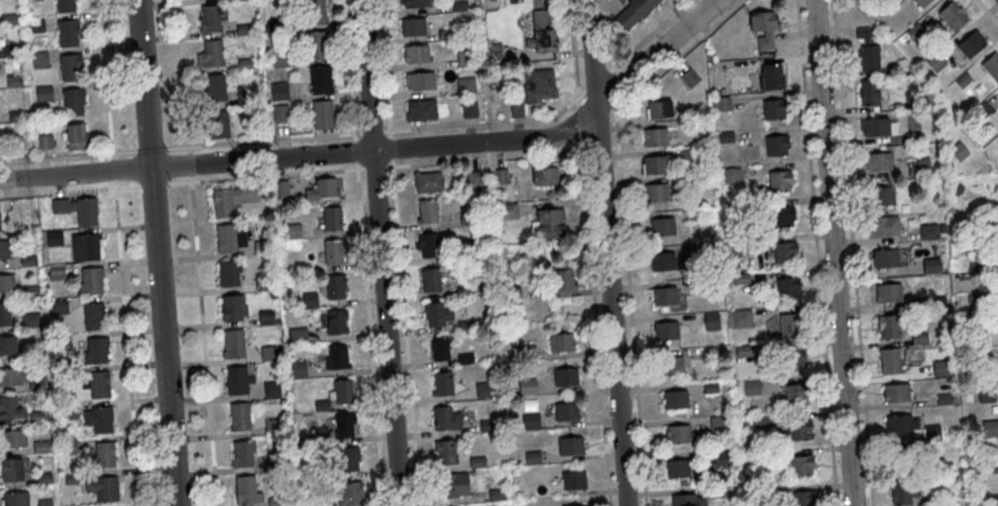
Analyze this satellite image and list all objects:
building: (240, 0)
building: (33, 1)
building: (922, 3)
building: (414, 4)
building: (891, 6)
building: (64, 7)
building: (459, 8)
road: (987, 11)
building: (314, 13)
building: (635, 13)
building: (953, 19)
building: (8, 21)
building: (209, 21)
building: (36, 27)
building: (275, 28)
building: (412, 29)
building: (763, 30)
building: (243, 31)
road: (609, 33)
building: (67, 34)
road: (648, 34)
building: (541, 35)
building: (916, 35)
building: (446, 36)
building: (316, 47)
building: (971, 47)
road: (574, 50)
building: (9, 52)
building: (493, 54)
building: (867, 54)
road: (679, 55)
building: (210, 56)
building: (416, 56)
building: (278, 61)
building: (465, 61)
building: (39, 62)
road: (348, 65)
building: (935, 65)
building: (245, 66)
road: (385, 68)
building: (70, 69)
building: (991, 69)
road: (182, 76)
road: (106, 78)
road: (597, 79)
building: (689, 80)
building: (771, 80)
building: (320, 82)
building: (13, 83)
building: (420, 83)
building: (962, 83)
building: (538, 87)
road: (612, 87)
building: (466, 88)
building: (214, 90)
building: (279, 93)
building: (43, 95)
building: (868, 95)
building: (247, 100)
building: (73, 104)
building: (919, 104)
building: (516, 107)
building: (723, 107)
building: (421, 112)
building: (469, 112)
building: (659, 112)
building: (773, 112)
building: (983, 112)
building: (281, 115)
building: (323, 117)
building: (15, 118)
road: (580, 119)
road: (487, 121)
building: (216, 126)
building: (696, 127)
road: (371, 129)
building: (254, 130)
building: (877, 130)
road: (354, 135)
road: (261, 138)
building: (726, 139)
building: (912, 139)
building: (75, 140)
building: (654, 140)
building: (45, 144)
road: (383, 146)
building: (17, 147)
road: (391, 147)
road: (149, 148)
building: (776, 148)
road: (356, 149)
road: (67, 154)
building: (689, 156)
road: (484, 158)
road: (189, 162)
building: (921, 164)
road: (374, 165)
building: (878, 165)
building: (655, 167)
road: (113, 168)
road: (265, 174)
building: (731, 177)
building: (501, 179)
building: (545, 179)
building: (474, 182)
road: (153, 183)
building: (427, 184)
building: (779, 184)
building: (690, 185)
road: (69, 189)
building: (282, 190)
building: (322, 191)
building: (956, 191)
building: (656, 195)
building: (880, 200)
building: (233, 201)
building: (77, 212)
building: (732, 212)
building: (427, 213)
building: (508, 213)
building: (692, 217)
building: (782, 219)
building: (468, 220)
building: (332, 221)
building: (550, 227)
building: (662, 229)
building: (883, 229)
building: (293, 233)
building: (929, 234)
building: (230, 240)
building: (53, 241)
building: (427, 247)
building: (85, 249)
building: (736, 249)
building: (262, 250)
building: (4, 252)
road: (159, 252)
road: (379, 252)
road: (606, 252)
building: (693, 253)
road: (816, 253)
road: (833, 253)
road: (852, 253)
building: (333, 254)
building: (784, 255)
building: (886, 261)
building: (27, 263)
building: (662, 264)
building: (931, 268)
building: (977, 268)
building: (56, 274)
building: (229, 276)
building: (740, 281)
building: (430, 282)
building: (562, 283)
building: (90, 284)
building: (263, 285)
building: (6, 286)
building: (488, 288)
building: (334, 289)
building: (787, 291)
building: (30, 294)
building: (512, 294)
building: (888, 295)
building: (664, 299)
building: (975, 300)
building: (309, 303)
road: (630, 305)
building: (919, 305)
building: (59, 309)
building: (230, 311)
building: (437, 316)
building: (5, 317)
building: (93, 319)
building: (266, 320)
road: (595, 321)
building: (741, 321)
building: (30, 322)
building: (711, 324)
building: (337, 325)
building: (789, 325)
building: (467, 327)
building: (889, 329)
road: (405, 331)
building: (969, 331)
road: (369, 333)
building: (666, 334)
building: (298, 338)
road: (203, 339)
building: (61, 341)
building: (919, 341)
road: (126, 342)
building: (561, 345)
building: (233, 347)
building: (7, 348)
building: (439, 351)
building: (95, 352)
building: (525, 353)
building: (710, 355)
building: (743, 355)
building: (33, 356)
building: (268, 356)
building: (336, 361)
building: (465, 361)
building: (793, 361)
building: (889, 364)
building: (670, 368)
building: (941, 370)
building: (298, 371)
building: (10, 379)
building: (566, 379)
building: (238, 383)
building: (36, 386)
building: (442, 386)
building: (98, 387)
building: (527, 388)
building: (751, 389)
building: (710, 390)
building: (271, 392)
building: (483, 392)
building: (341, 395)
building: (986, 395)
building: (795, 396)
building: (896, 396)
building: (943, 401)
building: (675, 402)
building: (321, 407)
building: (10, 411)
building: (67, 413)
building: (566, 414)
building: (38, 418)
building: (239, 419)
building: (98, 422)
building: (446, 422)
building: (530, 423)
building: (760, 423)
building: (719, 425)
building: (490, 427)
building: (901, 427)
building: (345, 428)
building: (273, 429)
building: (990, 430)
building: (797, 433)
building: (931, 434)
building: (681, 437)
building: (13, 441)
building: (314, 442)
building: (41, 448)
building: (69, 448)
building: (570, 449)
building: (445, 455)
building: (242, 456)
building: (103, 457)
building: (532, 459)
building: (721, 459)
building: (898, 460)
building: (349, 462)
building: (276, 463)
building: (477, 464)
building: (993, 466)
building: (801, 468)
building: (936, 468)
building: (677, 471)
building: (10, 472)
building: (44, 480)
building: (72, 480)
building: (573, 483)
building: (453, 488)
building: (103, 491)
building: (246, 493)
building: (715, 494)
building: (902, 495)
building: (350, 496)
building: (496, 496)
building: (766, 497)
building: (15, 499)
building: (802, 500)
building: (993, 501)
building: (276, 502)
building: (687, 502)
building: (44, 503)
building: (930, 503)
building: (575, 505)

